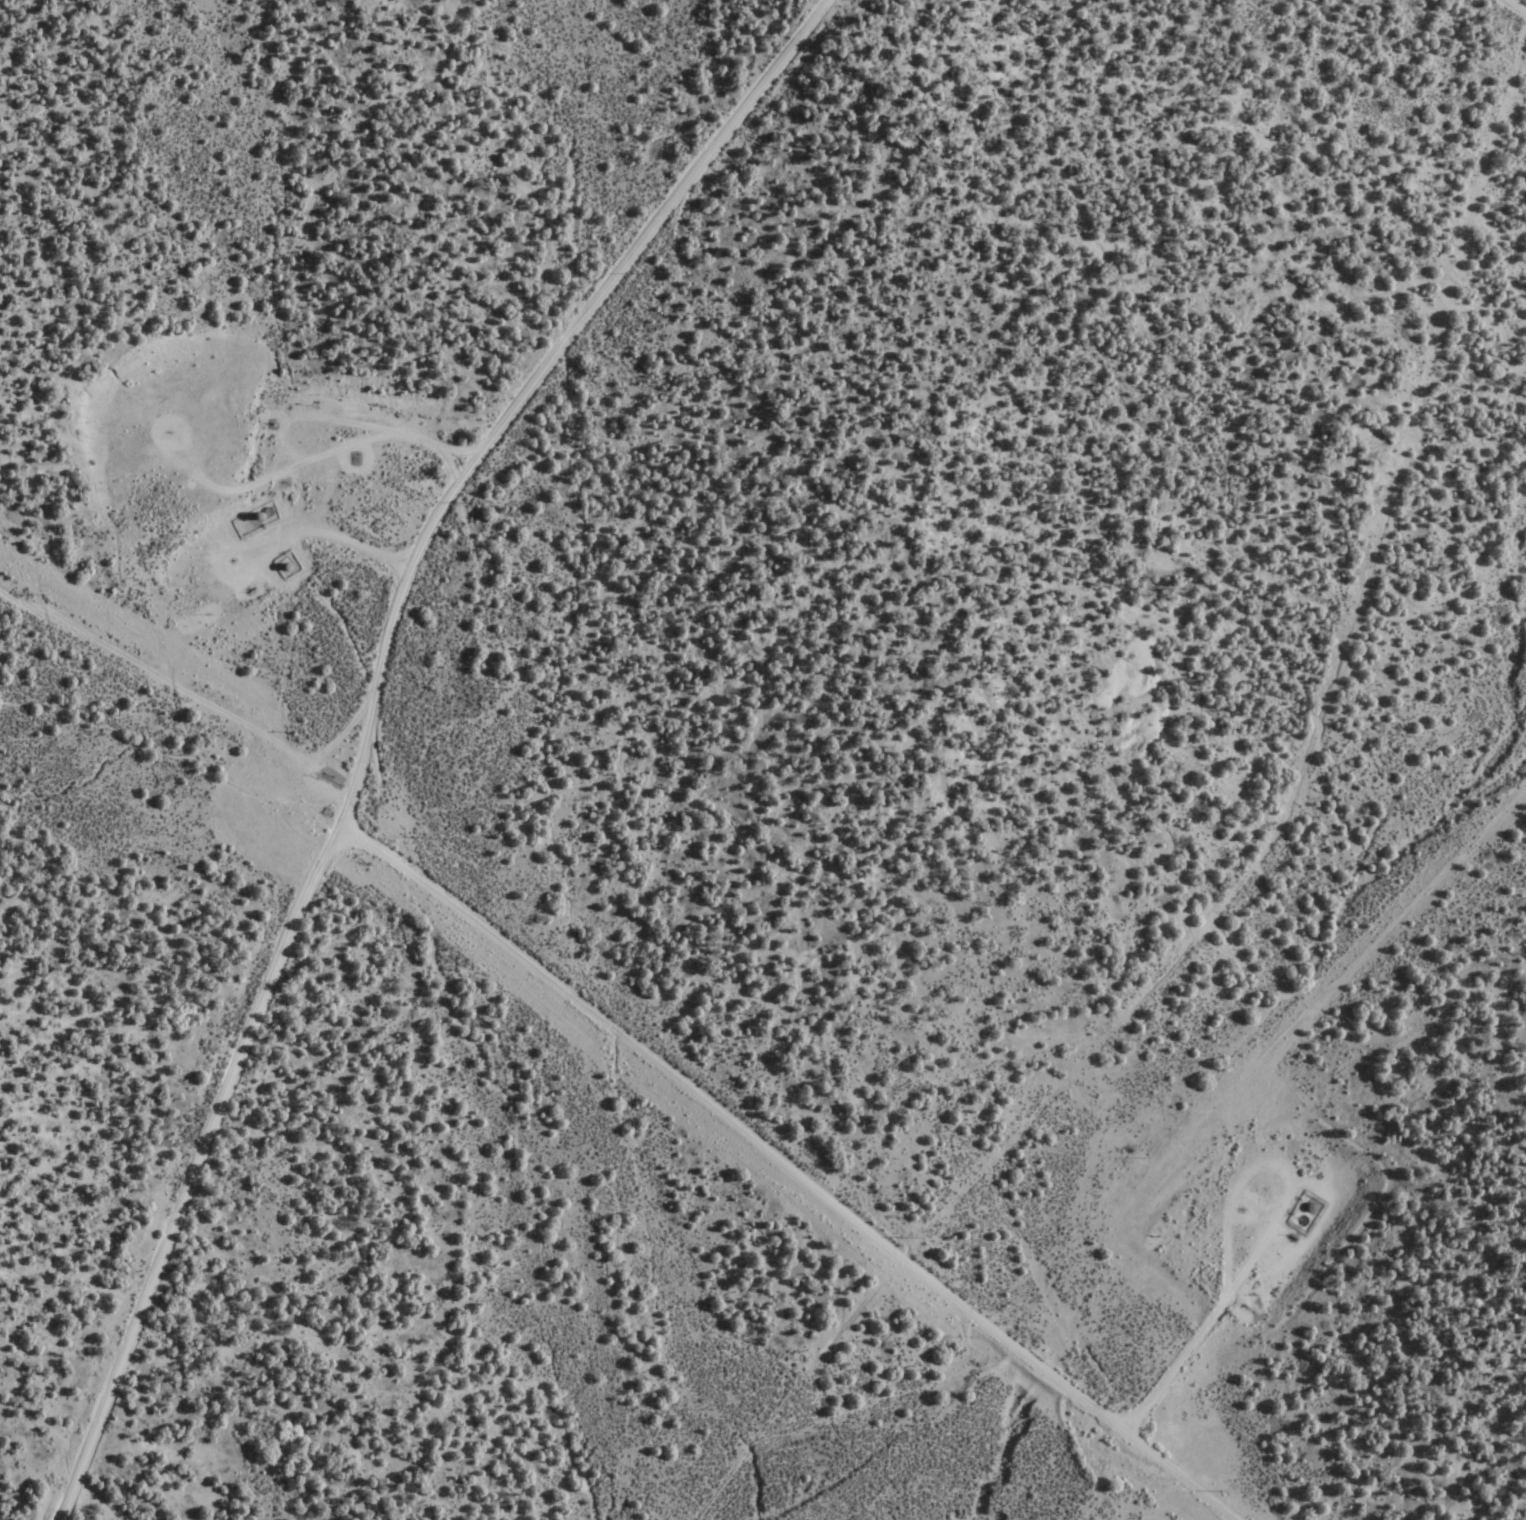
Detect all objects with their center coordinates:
road: (1512, 8)
road: (174, 686)
road: (371, 716)
road: (761, 1161)
road: (1228, 1415)
river: (997, 1469)

